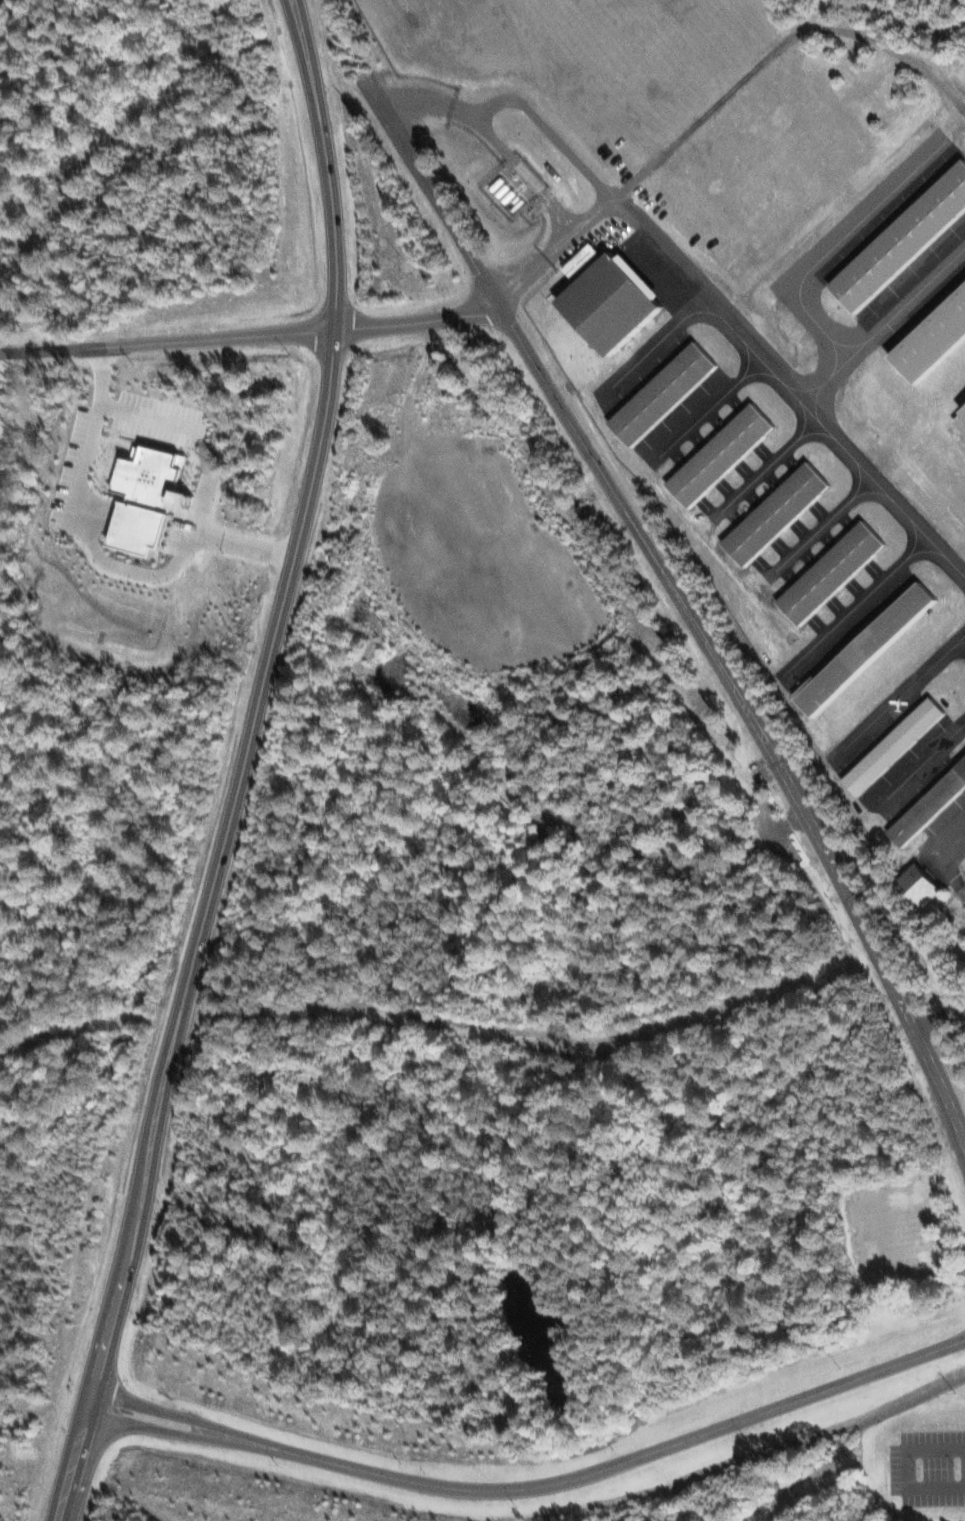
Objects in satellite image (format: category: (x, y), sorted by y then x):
airport hangar: (903, 240)
building: (903, 240)
building: (583, 259)
airport hangar: (612, 302)
building: (612, 302)
road: (249, 339)
airport hangar: (933, 341)
building: (933, 341)
airport: (751, 373)
airport hangar: (664, 393)
building: (664, 393)
airport hangar: (962, 420)
building: (962, 421)
airport apron: (789, 444)
airport hangar: (723, 455)
building: (723, 455)
building: (153, 498)
airport hangar: (779, 515)
building: (779, 515)
road: (299, 516)
airport hangar: (833, 572)
building: (833, 572)
road: (691, 617)
airport hangar: (870, 646)
building: (870, 646)
airport hangar: (896, 747)
building: (896, 747)
airport hangar: (928, 803)
building: (928, 803)
building: (916, 883)
road: (176, 1035)
road: (115, 1282)
road: (533, 1487)

